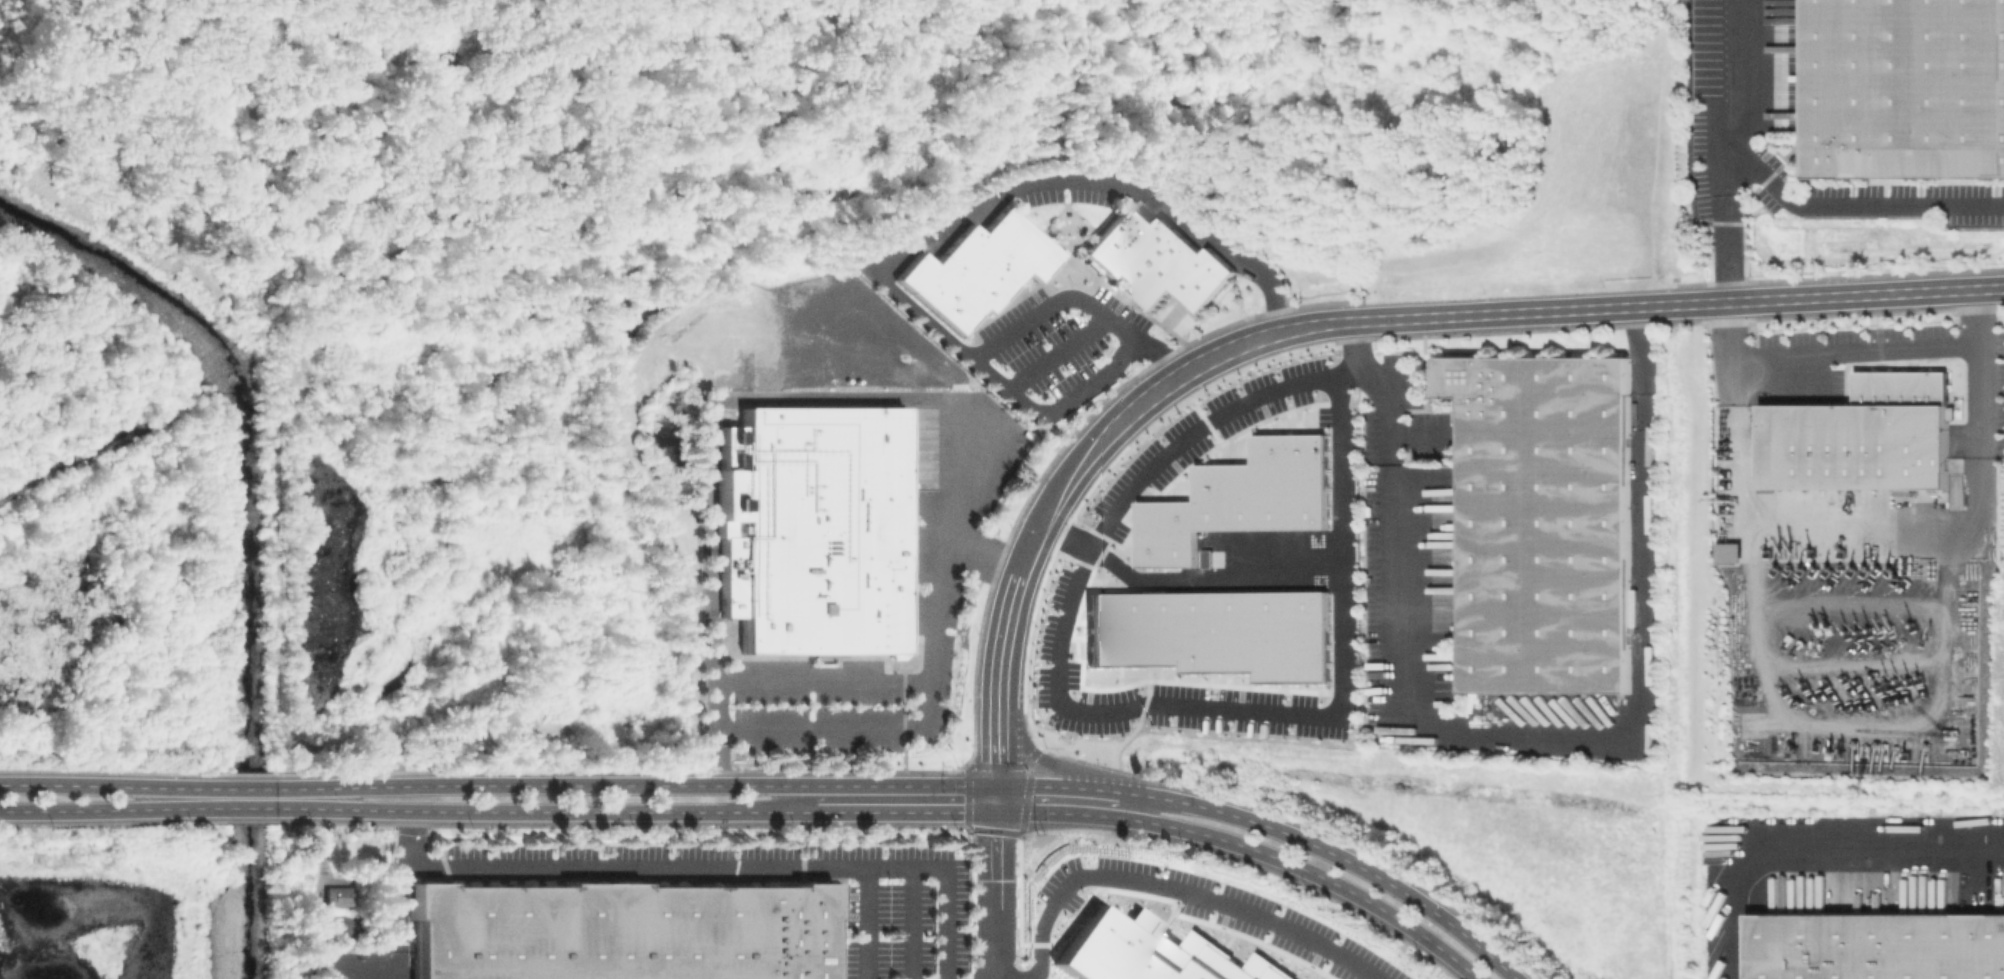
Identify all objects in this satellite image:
building: (1903, 90)
road: (1733, 97)
road: (1858, 205)
road: (913, 245)
building: (1155, 260)
building: (976, 268)
road: (1839, 296)
road: (1051, 303)
road: (1513, 313)
road: (1802, 365)
road: (1384, 386)
road: (1149, 395)
building: (738, 410)
road: (1984, 435)
building: (1862, 436)
building: (736, 449)
building: (1240, 499)
building: (1547, 520)
building: (824, 532)
building: (1728, 551)
road: (1396, 575)
building: (733, 577)
road: (1186, 578)
building: (1215, 632)
road: (1007, 639)
road: (1641, 644)
road: (930, 695)
road: (1118, 706)
road: (1121, 745)
road: (1002, 747)
road: (718, 758)
road: (905, 758)
road: (1048, 760)
road: (88, 785)
road: (673, 786)
traffic signals: (1001, 786)
road: (1062, 787)
road: (260, 789)
road: (999, 799)
road: (261, 808)
road: (88, 810)
road: (581, 812)
road: (907, 812)
traffic signals: (998, 812)
road: (320, 814)
road: (248, 819)
road: (88, 820)
road: (1809, 836)
road: (462, 838)
road: (804, 839)
road: (1253, 849)
road: (1334, 854)
road: (705, 867)
road: (1176, 890)
road: (996, 895)
building: (337, 896)
road: (318, 900)
road: (866, 923)
building: (621, 931)
building: (1874, 946)
building: (1152, 952)
road: (400, 965)

